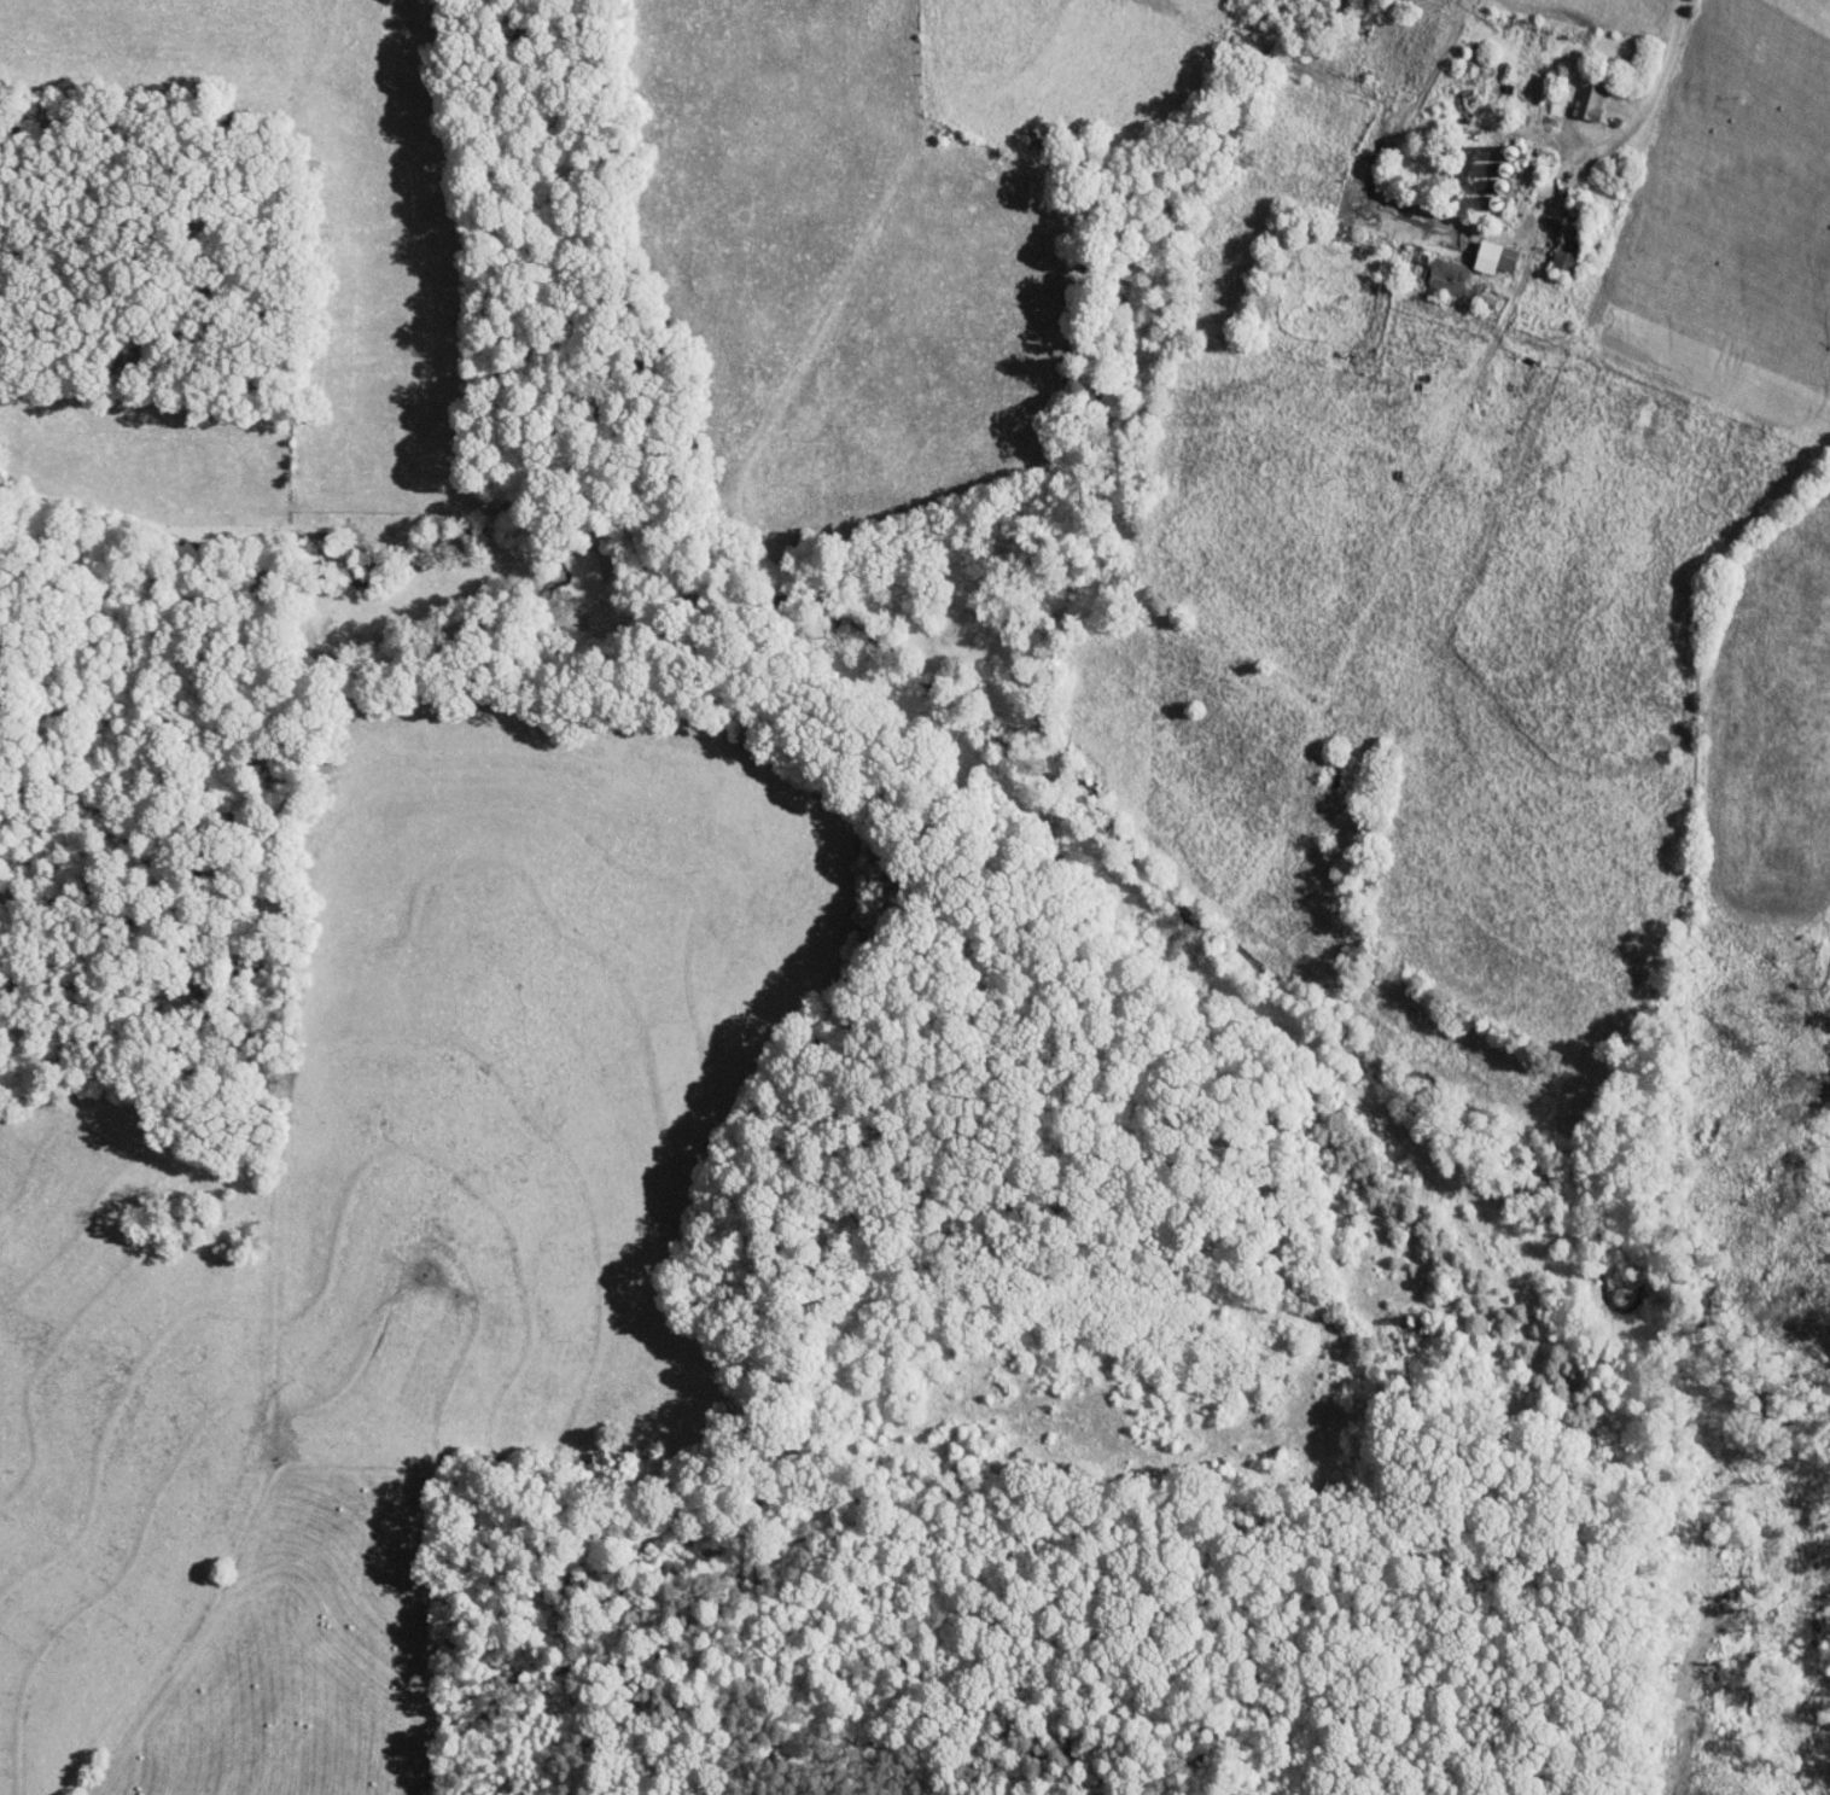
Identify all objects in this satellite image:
road: (1655, 81)
building: (1592, 101)
building: (1572, 235)
building: (1496, 257)
building: (1451, 276)

